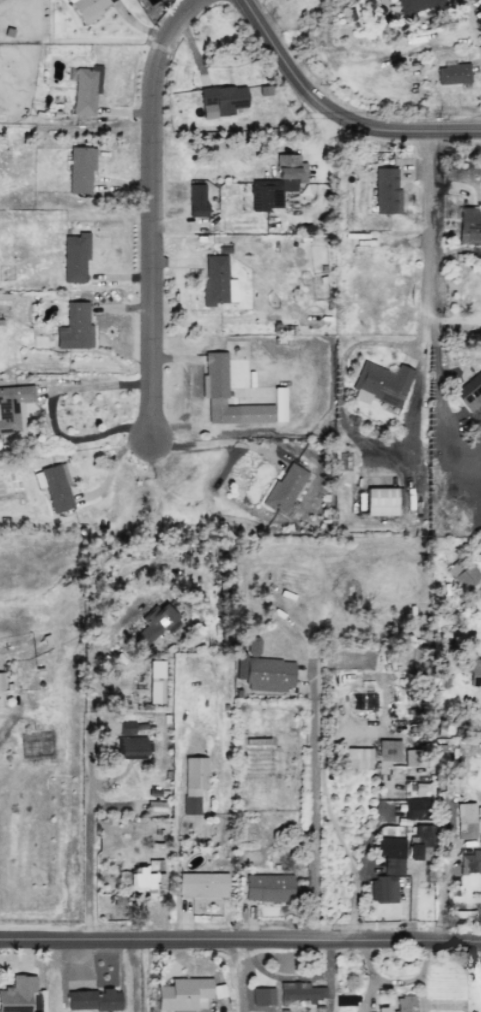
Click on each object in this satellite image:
building: (414, 6)
building: (87, 8)
road: (470, 22)
road: (479, 51)
road: (286, 64)
building: (452, 73)
building: (85, 90)
building: (264, 90)
building: (221, 101)
road: (409, 131)
building: (80, 169)
building: (276, 183)
building: (386, 191)
building: (195, 200)
road: (154, 211)
building: (469, 226)
road: (422, 233)
building: (74, 257)
building: (216, 282)
building: (74, 327)
building: (380, 383)
road: (97, 384)
building: (213, 392)
building: (469, 392)
road: (433, 395)
building: (13, 408)
road: (217, 443)
road: (115, 461)
building: (56, 487)
building: (283, 488)
building: (381, 501)
building: (461, 573)
building: (154, 623)
building: (263, 670)
building: (1, 682)
building: (155, 682)
road: (15, 710)
building: (386, 754)
building: (412, 757)
building: (356, 758)
building: (193, 783)
road: (113, 804)
building: (416, 809)
road: (312, 813)
building: (465, 821)
road: (91, 823)
building: (420, 844)
building: (470, 863)
building: (387, 869)
road: (442, 870)
building: (145, 876)
building: (202, 885)
building: (267, 888)
road: (414, 904)
road: (240, 941)
building: (299, 992)
building: (182, 993)
building: (18, 994)
building: (261, 996)
building: (92, 1000)
building: (403, 1004)
building: (179, 1011)

